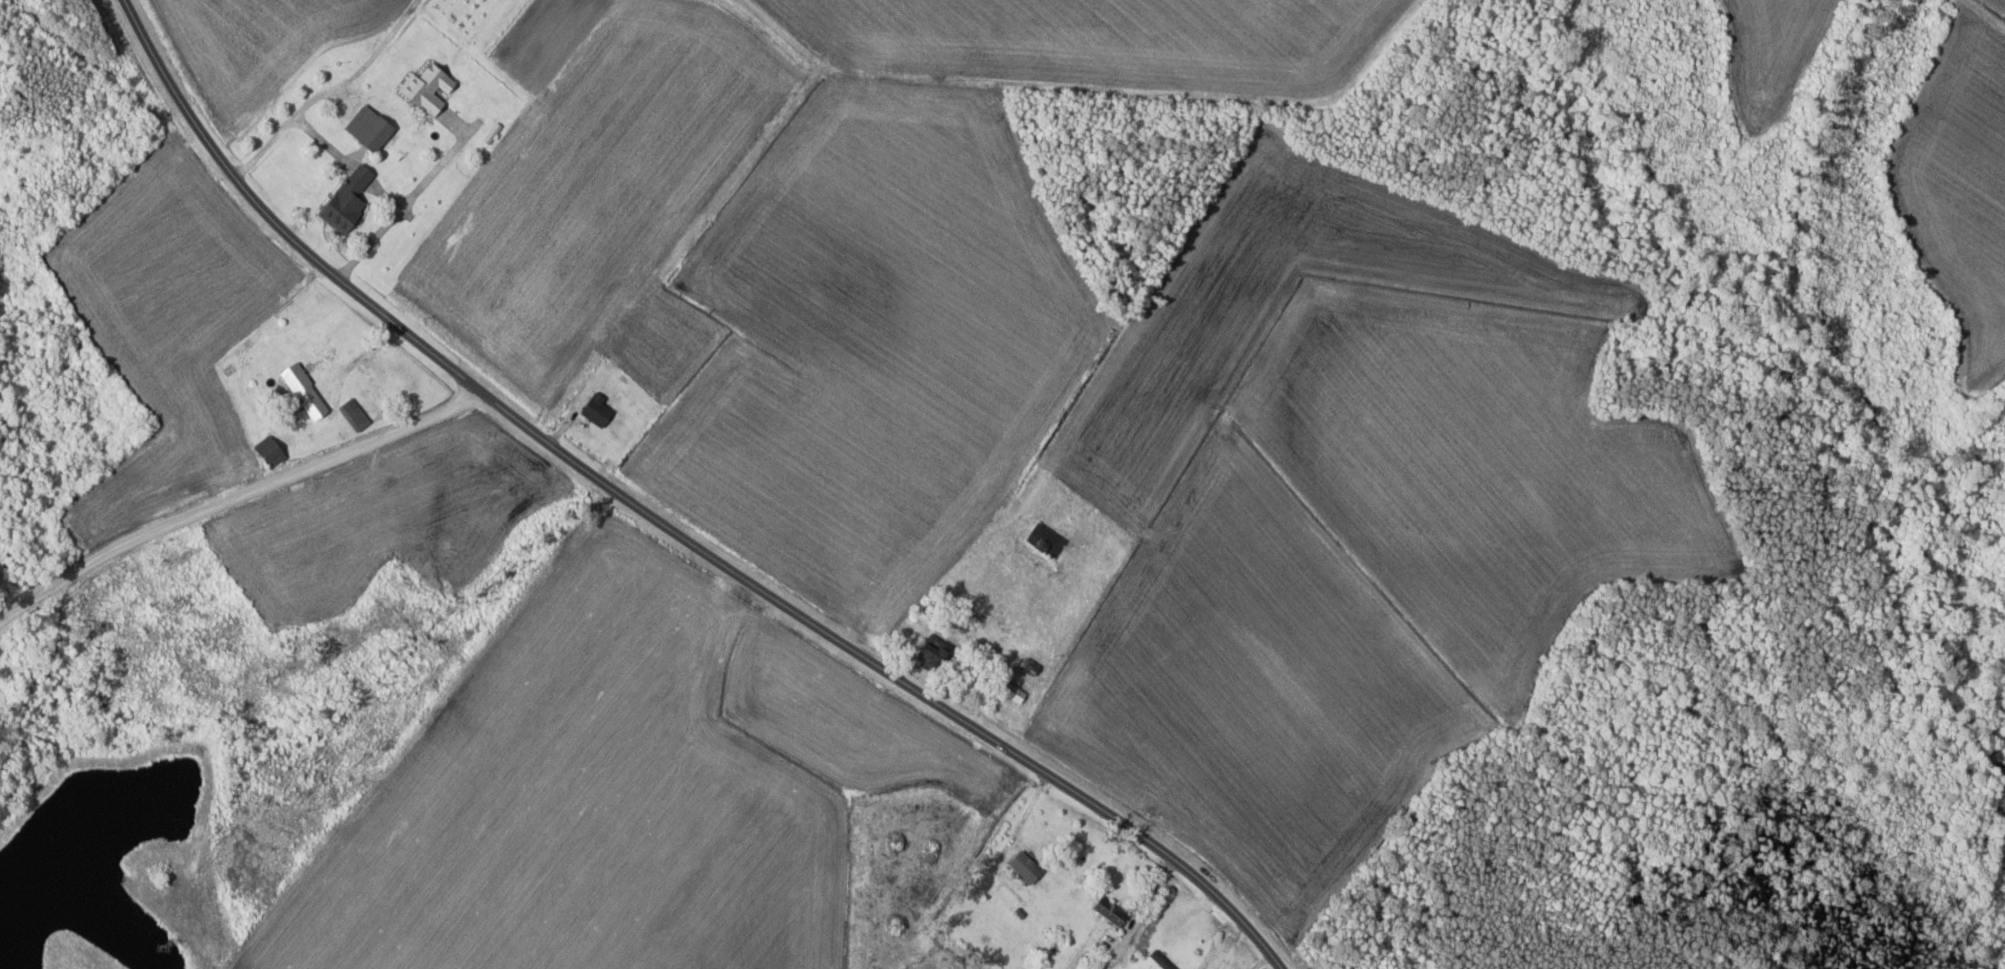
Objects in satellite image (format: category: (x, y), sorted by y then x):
road: (236, 495)
road: (665, 525)
park: (5, 694)

